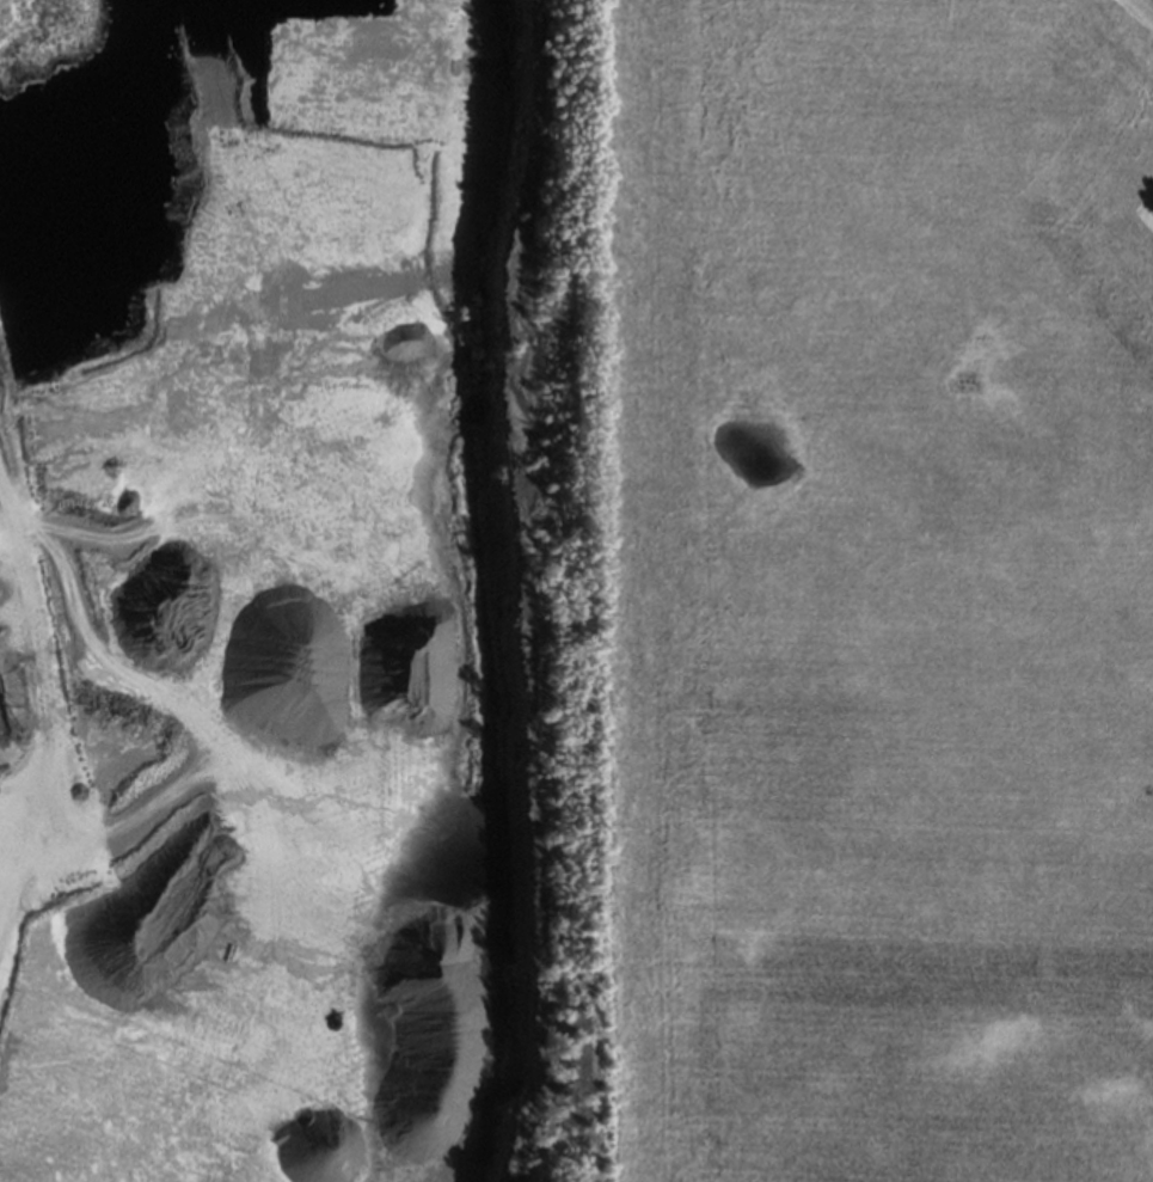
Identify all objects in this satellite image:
quarry: (319, 589)

